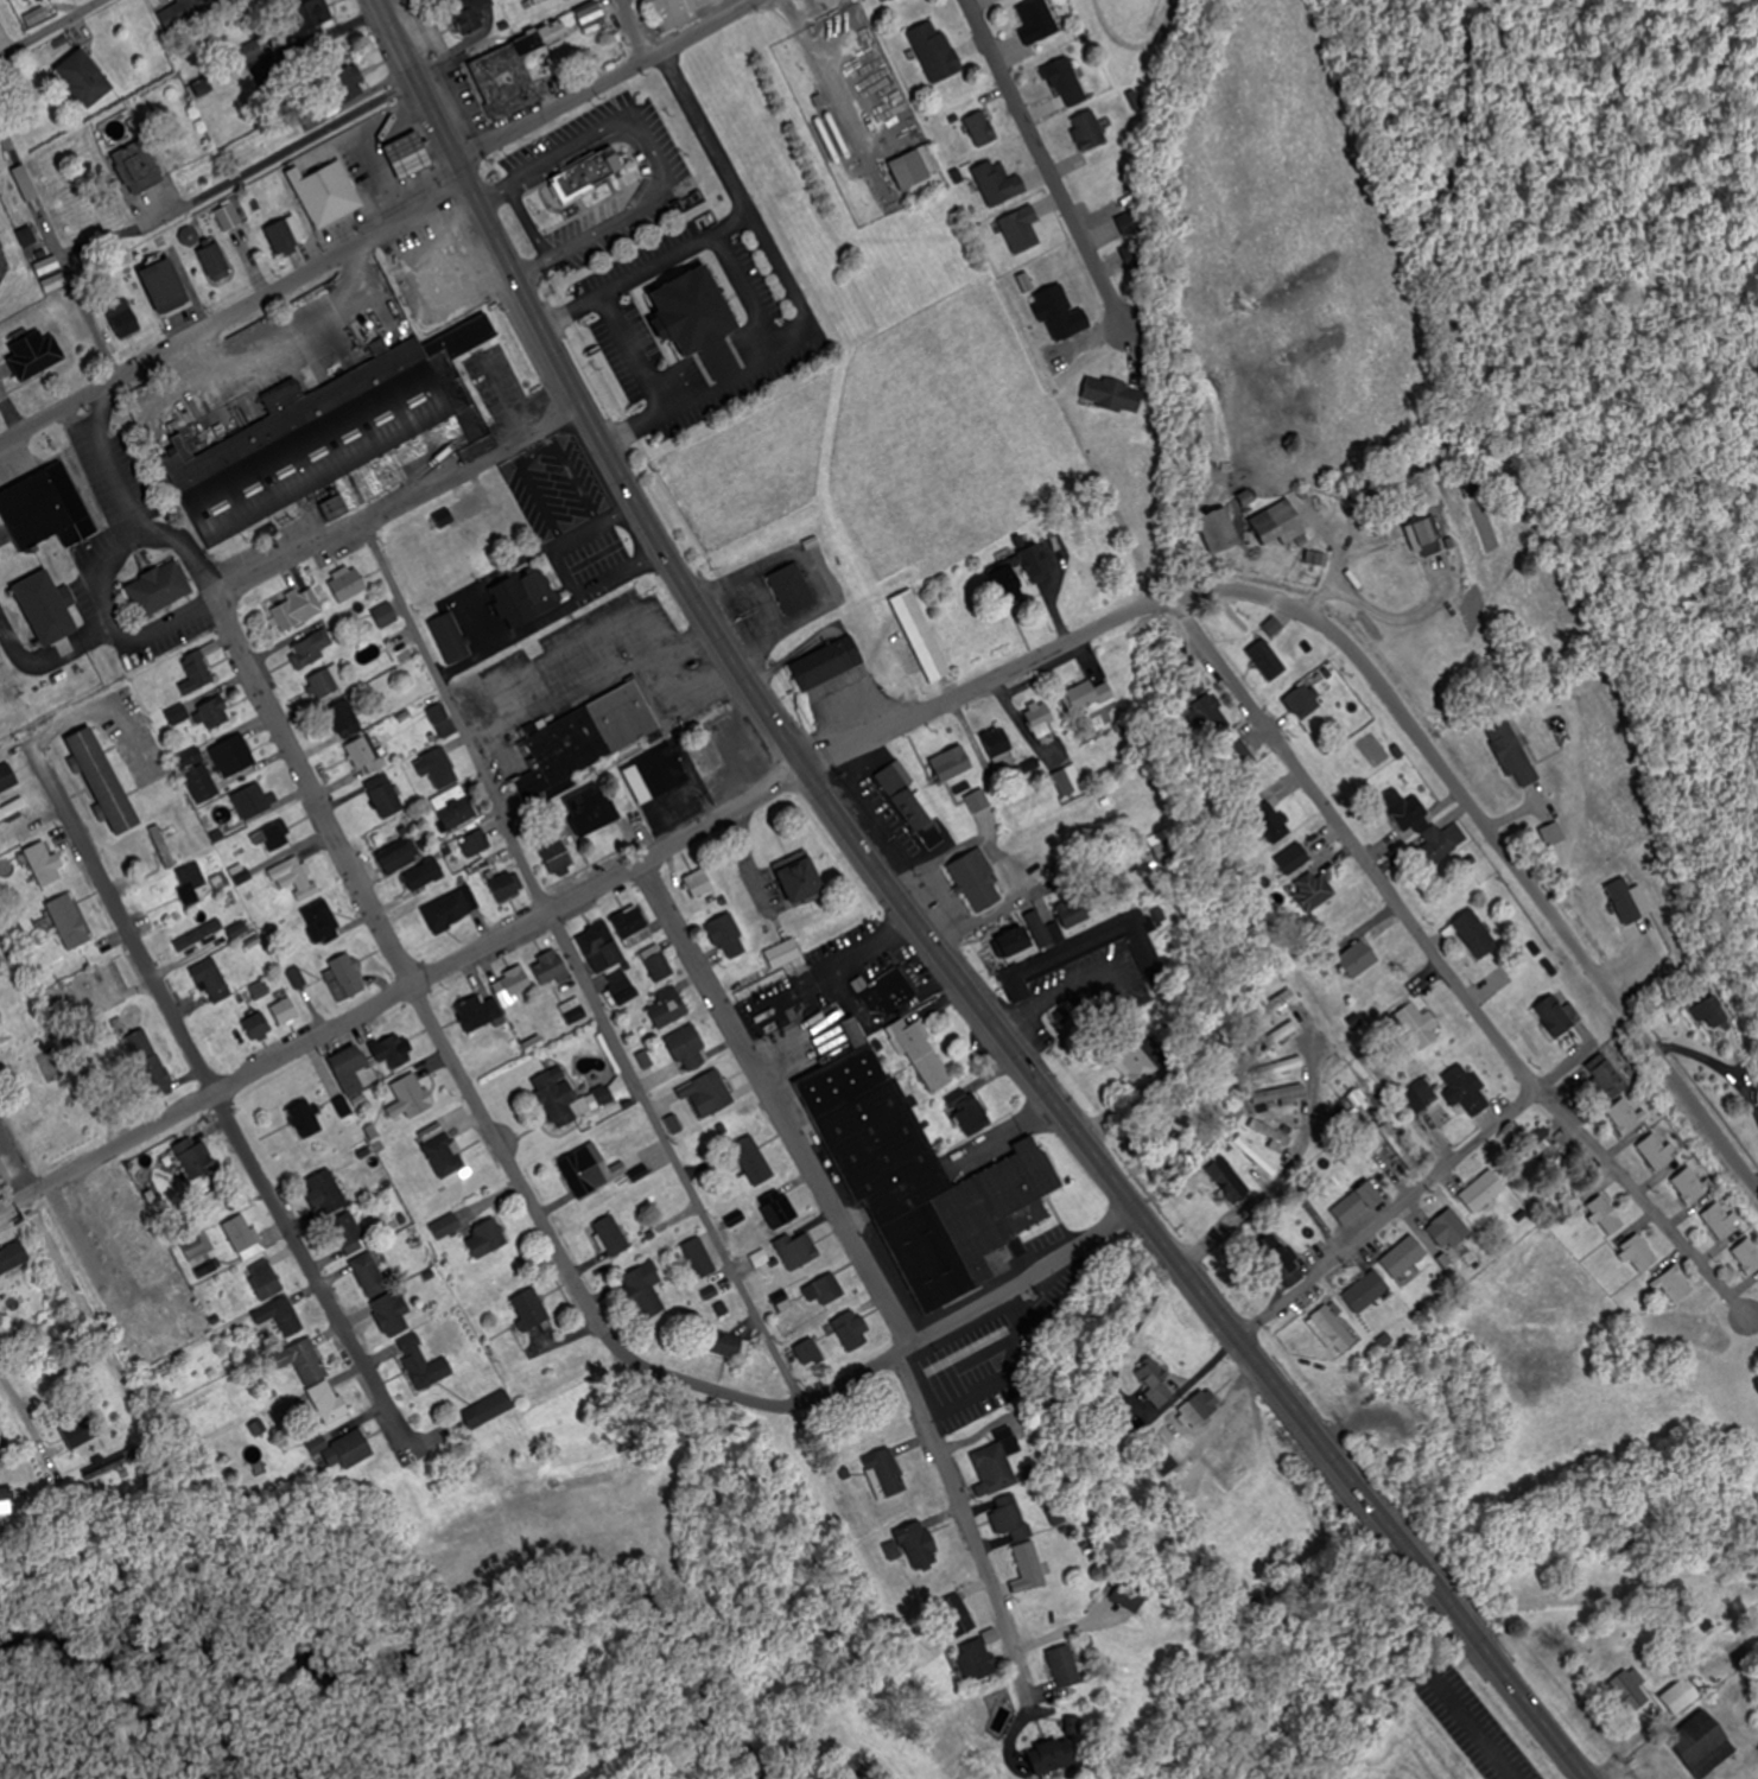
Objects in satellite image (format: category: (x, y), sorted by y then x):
building: (891, 0)
building: (675, 7)
building: (189, 12)
building: (469, 13)
building: (591, 14)
building: (311, 17)
building: (1039, 23)
road: (50, 27)
road: (639, 30)
building: (552, 33)
building: (260, 46)
building: (937, 51)
street lamp: (437, 57)
building: (507, 77)
building: (85, 80)
road: (613, 82)
building: (1067, 84)
building: (345, 85)
building: (983, 128)
building: (1090, 132)
road: (627, 138)
road: (6, 141)
road: (293, 148)
building: (407, 154)
gas station: (407, 154)
road: (656, 155)
road: (1049, 163)
street lamp: (488, 164)
building: (916, 165)
building: (351, 166)
building: (138, 167)
building: (588, 171)
building: (1001, 183)
building: (325, 193)
flagpole: (535, 214)
building: (229, 218)
road: (529, 221)
building: (1022, 230)
building: (286, 236)
building: (216, 262)
road: (648, 268)
building: (430, 274)
road: (77, 285)
building: (166, 286)
road: (749, 288)
road: (799, 297)
flagpole: (627, 299)
road: (239, 312)
building: (123, 317)
building: (702, 317)
road: (1449, 325)
building: (464, 337)
road: (635, 351)
building: (36, 355)
street lamp: (596, 371)
building: (1113, 395)
flagpole: (50, 437)
flagpole: (44, 446)
building: (329, 447)
street lamp: (654, 474)
building: (1248, 498)
road: (138, 506)
road: (401, 507)
building: (45, 510)
building: (503, 525)
building: (1281, 525)
building: (1220, 532)
building: (1430, 536)
flagpole: (146, 552)
building: (1021, 576)
building: (445, 579)
building: (347, 584)
building: (793, 586)
building: (159, 587)
building: (529, 595)
building: (49, 606)
building: (298, 610)
building: (387, 616)
building: (922, 635)
building: (450, 638)
building: (312, 650)
building: (1268, 656)
building: (830, 661)
building: (197, 673)
building: (324, 685)
building: (1089, 695)
building: (1305, 704)
building: (216, 714)
building: (179, 716)
building: (1207, 718)
building: (345, 720)
building: (1042, 720)
building: (443, 722)
building: (585, 738)
building: (999, 746)
building: (366, 755)
building: (1239, 755)
building: (234, 757)
building: (1516, 757)
building: (953, 764)
building: (438, 769)
building: (197, 777)
building: (7, 779)
building: (104, 780)
building: (1070, 781)
building: (669, 786)
building: (386, 798)
building: (253, 802)
building: (913, 802)
building: (978, 802)
building: (457, 808)
building: (13, 809)
building: (592, 811)
building: (1408, 812)
building: (1271, 824)
building: (1042, 834)
building: (1555, 836)
building: (273, 837)
building: (1443, 844)
building: (476, 845)
building: (1167, 852)
building: (401, 857)
building: (558, 858)
building: (1295, 860)
road: (646, 862)
building: (44, 865)
building: (800, 875)
building: (425, 876)
building: (294, 878)
building: (979, 879)
building: (191, 882)
building: (700, 884)
building: (508, 887)
building: (1315, 890)
road: (1536, 891)
building: (449, 913)
building: (1075, 915)
building: (322, 921)
building: (70, 922)
road: (929, 926)
building: (633, 927)
building: (1041, 930)
building: (1478, 935)
building: (729, 938)
building: (188, 941)
building: (1017, 943)
building: (602, 948)
building: (1084, 952)
building: (785, 954)
building: (1359, 960)
building: (659, 964)
road: (1453, 964)
building: (551, 968)
road: (579, 968)
road: (830, 973)
building: (345, 979)
building: (114, 980)
building: (212, 981)
building: (513, 987)
building: (622, 989)
building: (886, 991)
building: (1275, 1008)
building: (669, 1009)
building: (575, 1011)
building: (286, 1012)
building: (480, 1014)
road: (888, 1016)
building: (1062, 1017)
building: (1560, 1017)
building: (258, 1027)
building: (1420, 1027)
building: (688, 1049)
flagpole: (1056, 1051)
building: (393, 1054)
building: (925, 1054)
road: (457, 1062)
building: (151, 1065)
building: (1135, 1066)
building: (1286, 1067)
building: (349, 1070)
building: (1608, 1076)
road: (211, 1081)
building: (1467, 1089)
building: (715, 1093)
building: (1426, 1093)
building: (1288, 1094)
building: (412, 1098)
building: (572, 1098)
building: (1358, 1100)
building: (969, 1112)
building: (1626, 1117)
building: (306, 1120)
building: (39, 1123)
building: (1271, 1135)
building: (1401, 1146)
building: (1659, 1152)
building: (445, 1156)
building: (1257, 1156)
building: (195, 1157)
road: (15, 1158)
building: (754, 1162)
road: (1286, 1173)
building: (578, 1176)
building: (922, 1178)
building: (329, 1190)
building: (1485, 1193)
building: (1360, 1203)
building: (779, 1209)
road: (1391, 1214)
building: (1607, 1216)
building: (1724, 1221)
building: (446, 1226)
building: (1449, 1230)
road: (107, 1232)
building: (350, 1233)
building: (246, 1235)
building: (613, 1235)
building: (488, 1238)
building: (798, 1249)
building: (1640, 1254)
building: (1749, 1256)
building: (13, 1257)
building: (199, 1257)
building: (700, 1257)
building: (1405, 1258)
road: (869, 1266)
building: (1286, 1269)
building: (370, 1275)
building: (266, 1279)
building: (1676, 1285)
building: (646, 1290)
building: (825, 1290)
building: (1367, 1294)
building: (783, 1303)
building: (531, 1308)
road: (975, 1308)
building: (189, 1314)
building: (392, 1315)
building: (285, 1317)
building: (850, 1329)
building: (1333, 1330)
building: (146, 1340)
building: (730, 1345)
building: (810, 1353)
building: (304, 1361)
building: (424, 1364)
building: (59, 1372)
building: (1155, 1384)
building: (332, 1405)
building: (1200, 1408)
building: (489, 1410)
road: (28, 1423)
building: (81, 1431)
building: (344, 1449)
building: (1166, 1462)
building: (996, 1463)
building: (97, 1472)
building: (886, 1474)
building: (1058, 1517)
building: (1010, 1518)
building: (915, 1545)
building: (1032, 1565)
building: (1129, 1596)
building: (958, 1615)
building: (978, 1660)
building: (1067, 1666)
building: (1630, 1692)
building: (1683, 1696)
road: (1471, 1721)
building: (1705, 1745)
road: (1630, 1751)
building: (1051, 1756)

